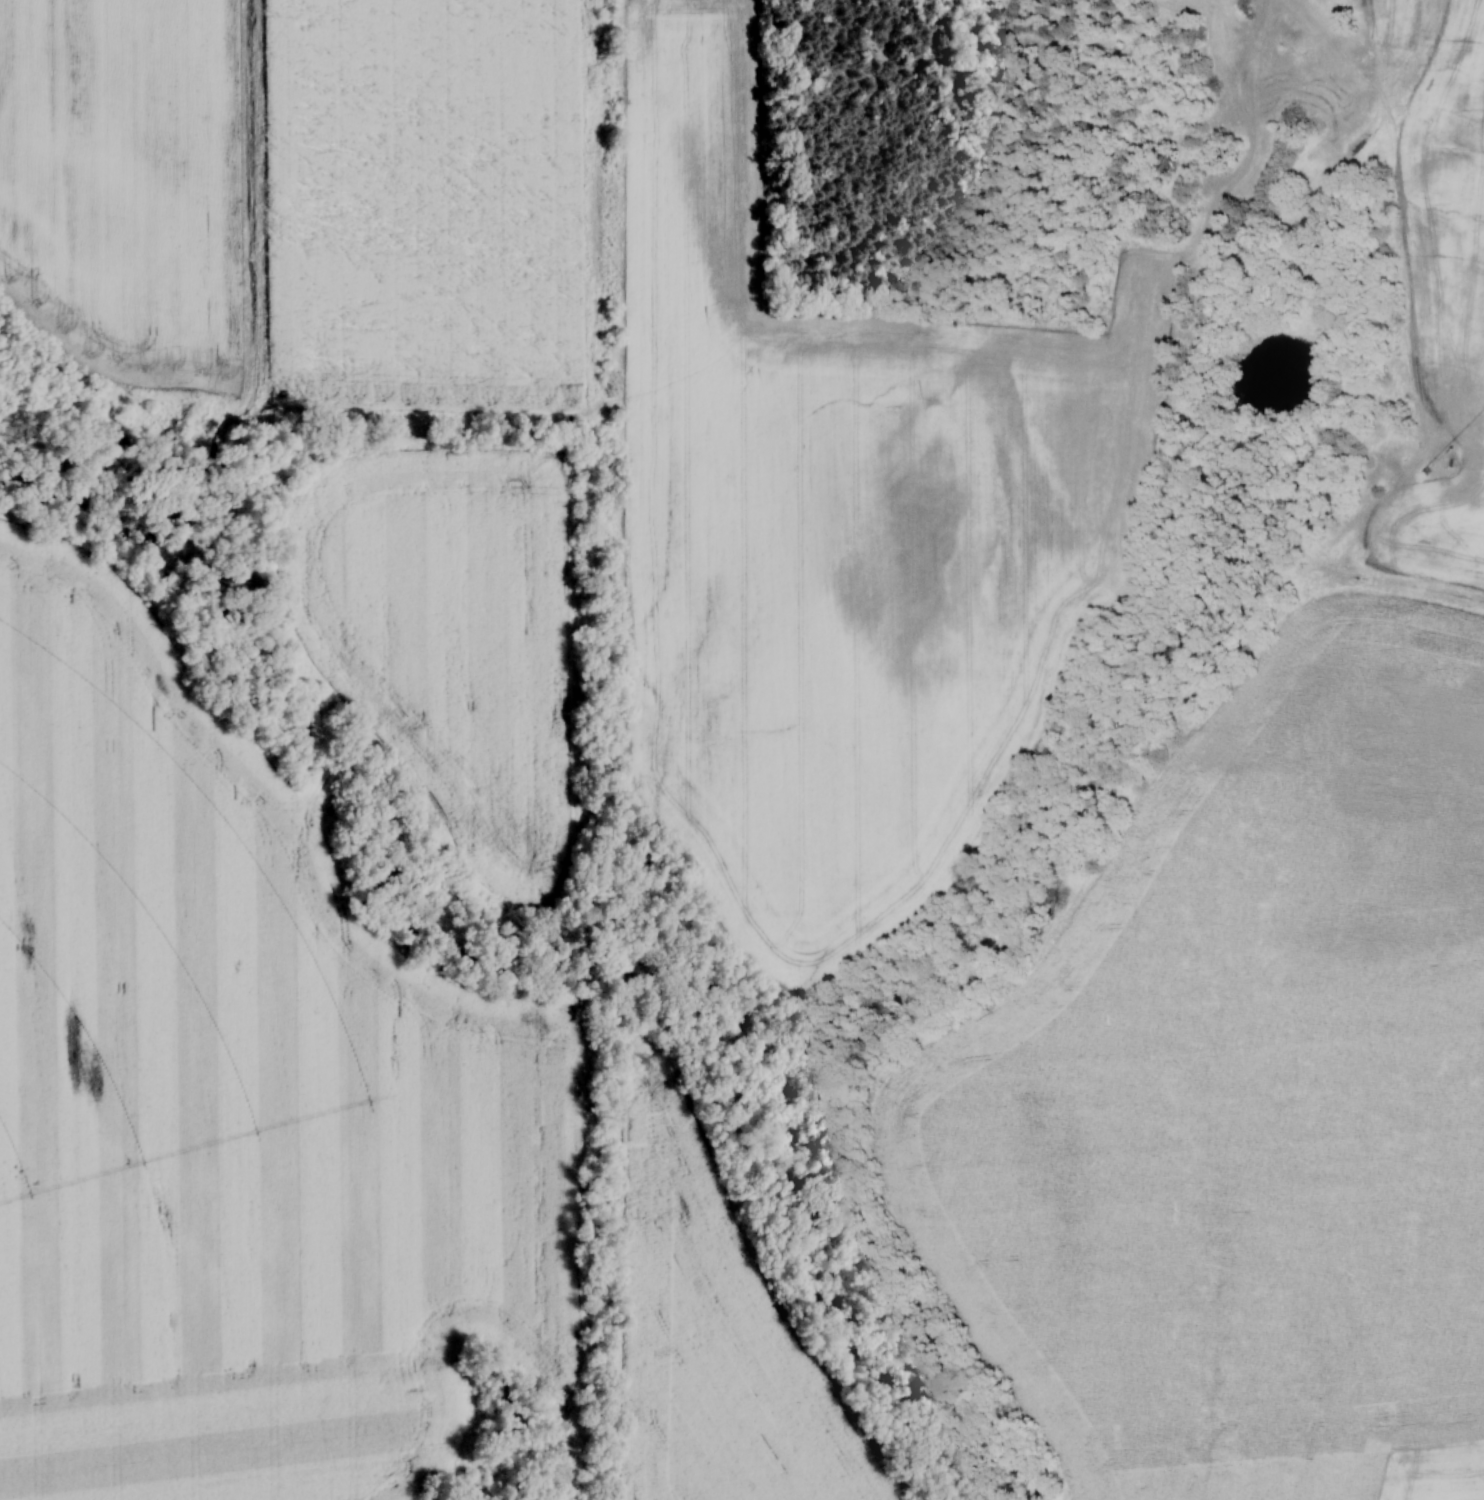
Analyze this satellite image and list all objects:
building: (1166, 159)

